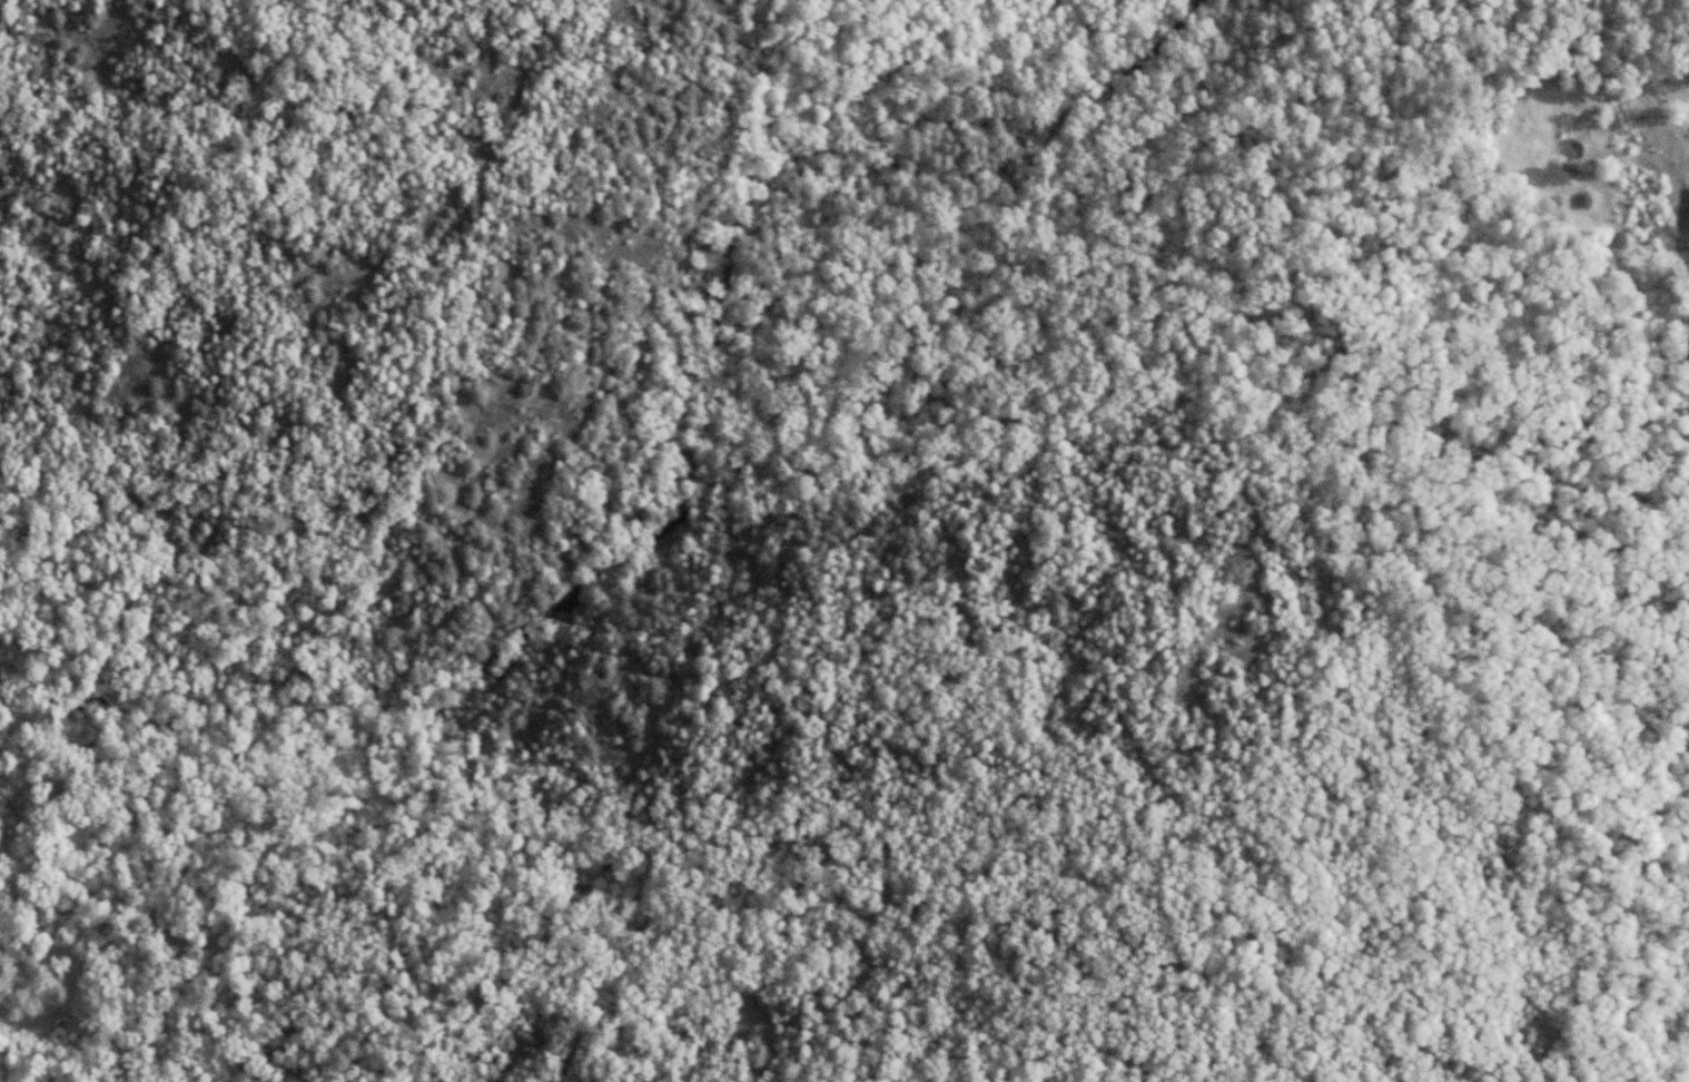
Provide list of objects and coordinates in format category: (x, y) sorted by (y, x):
road: (1616, 88)

